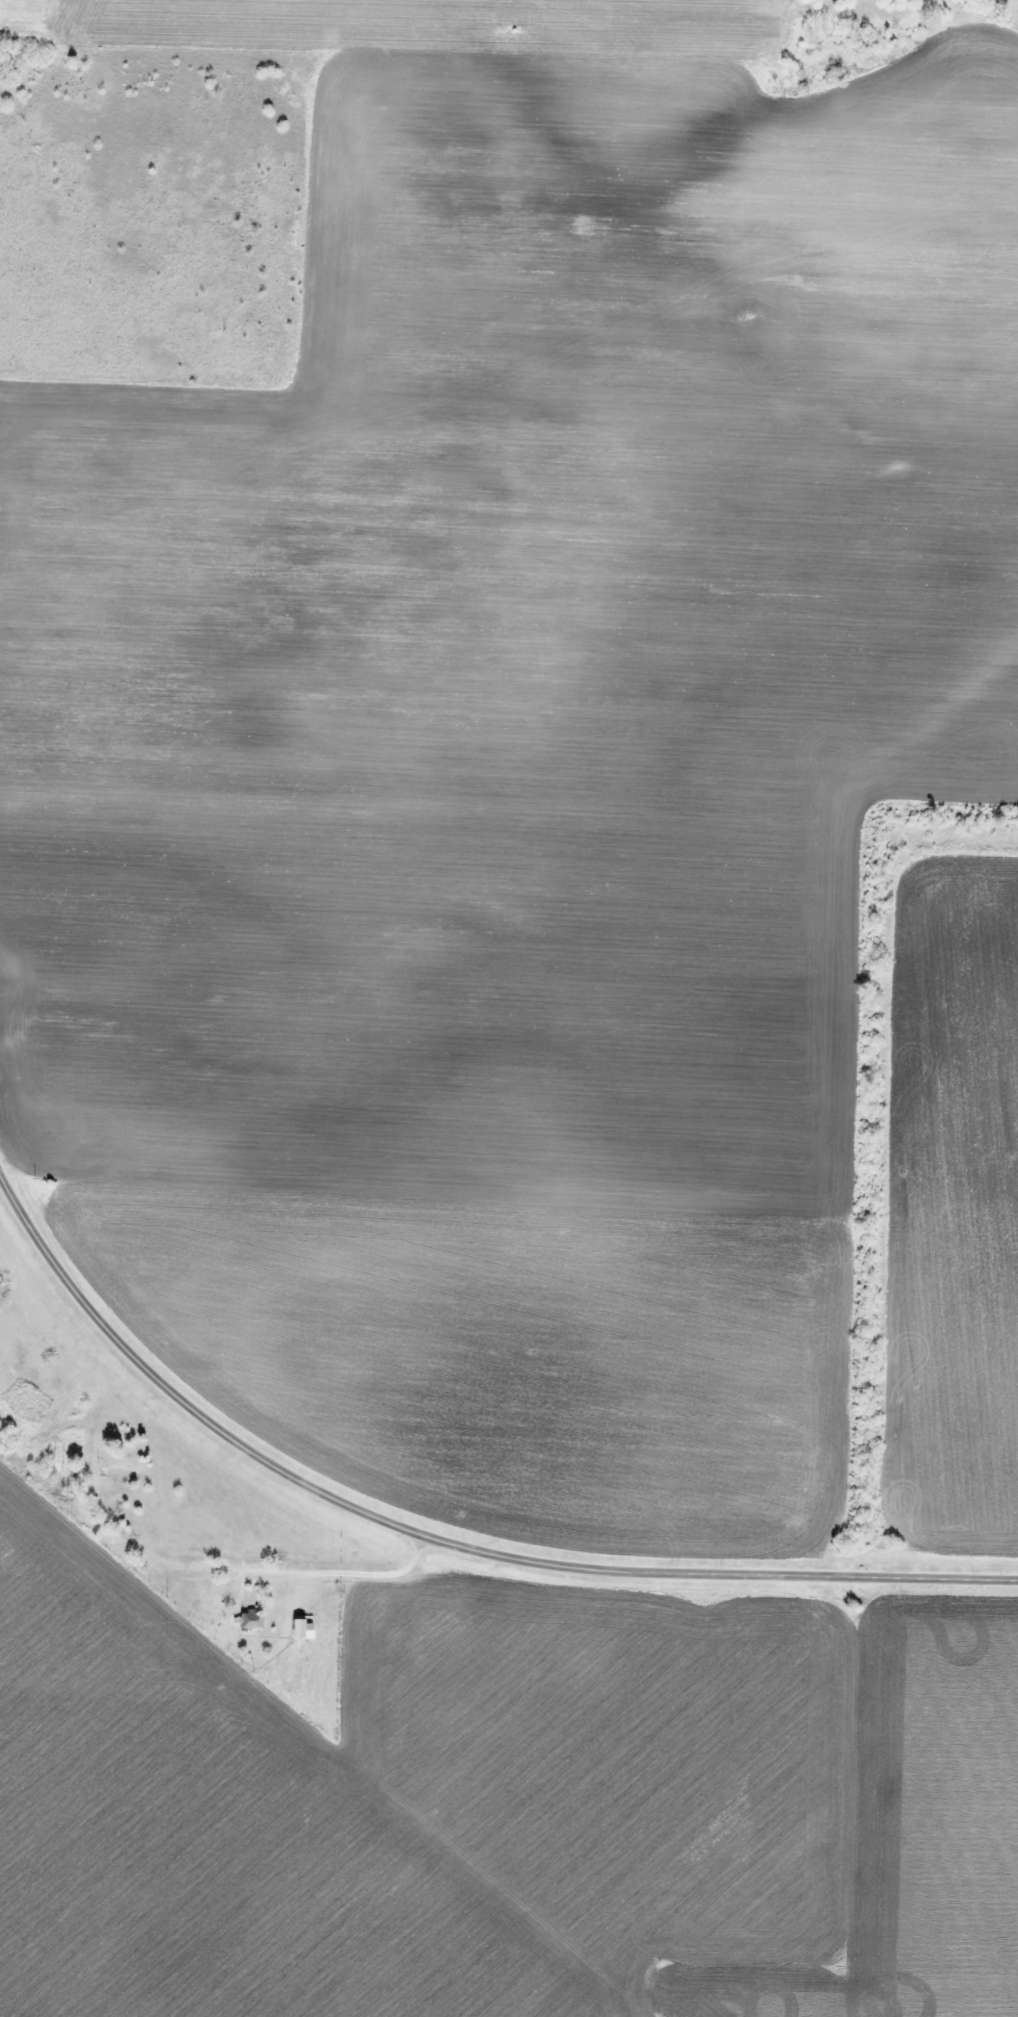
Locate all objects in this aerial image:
building: (118, 1469)
road: (437, 1540)
road: (231, 1568)
building: (247, 1619)

